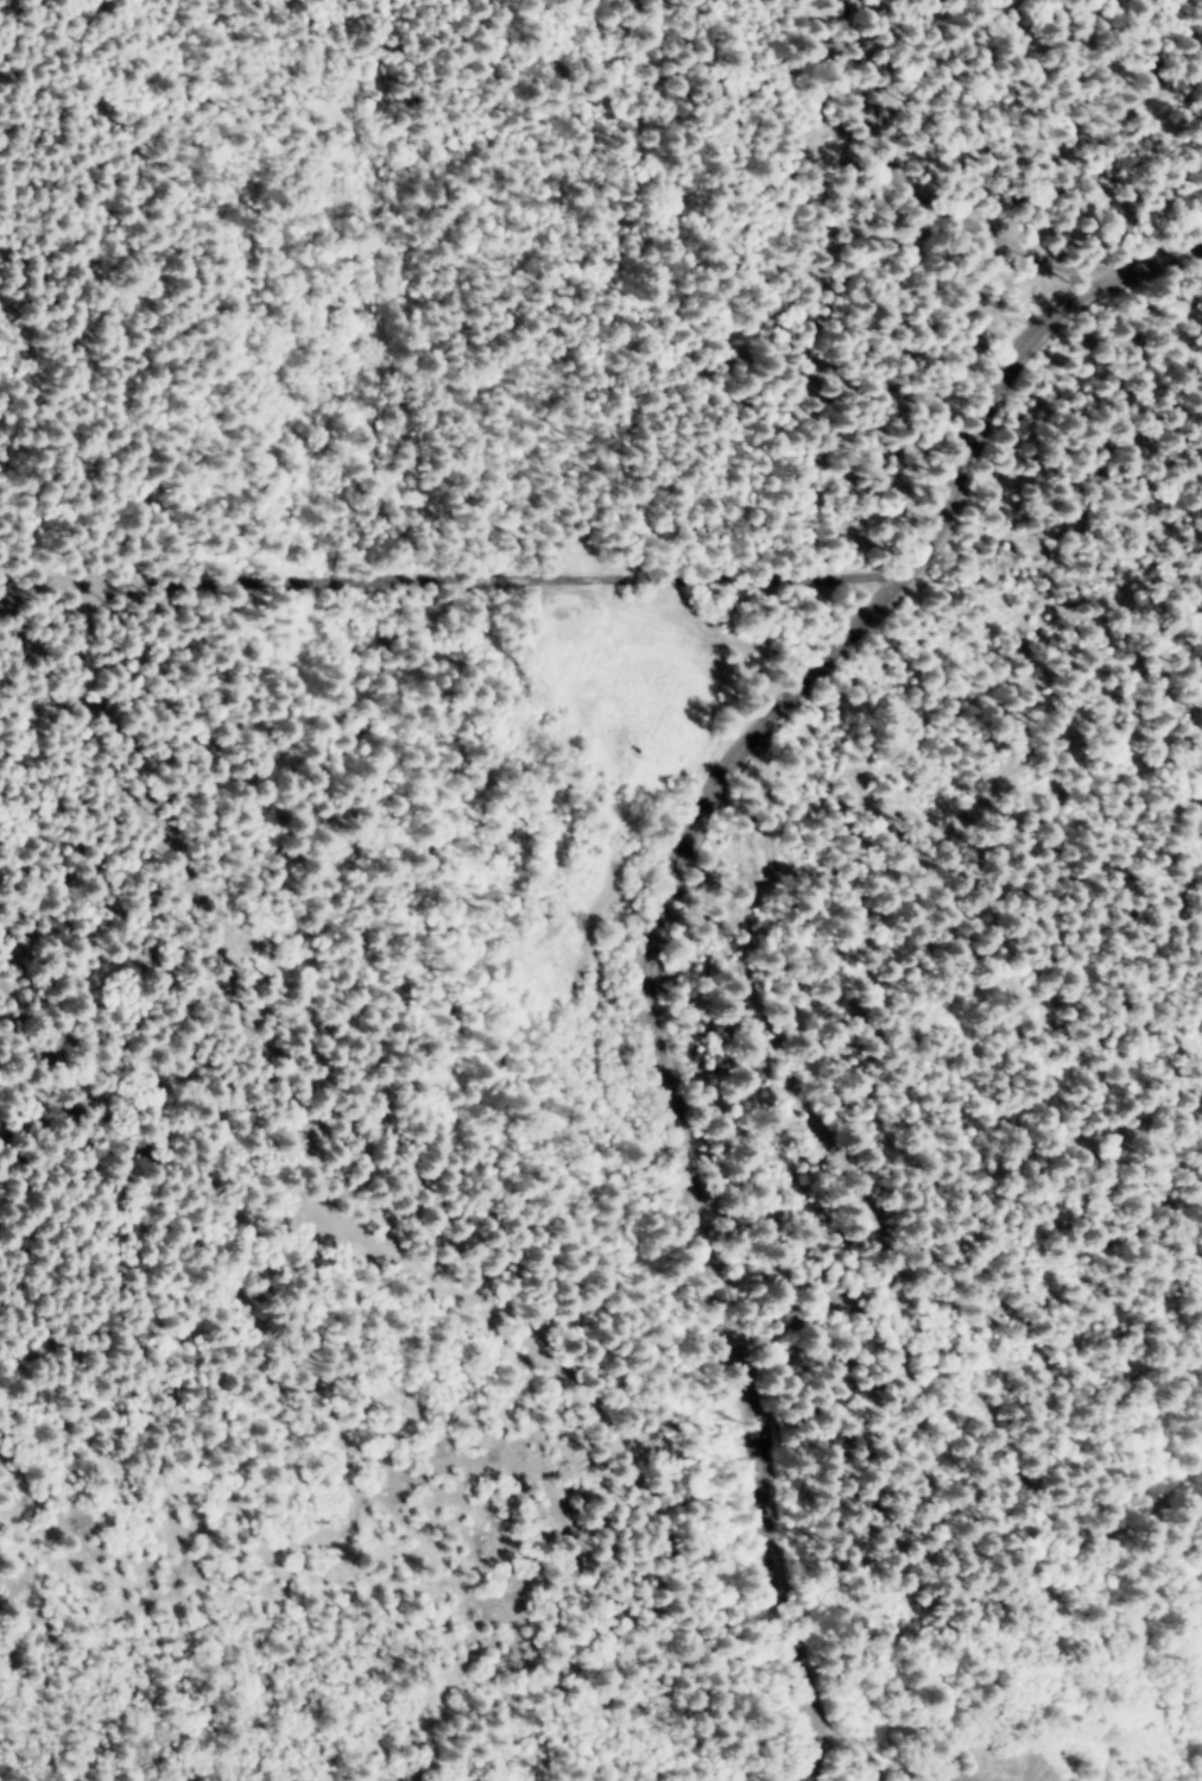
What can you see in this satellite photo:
road: (1105, 145)
road: (934, 176)
road: (668, 907)

